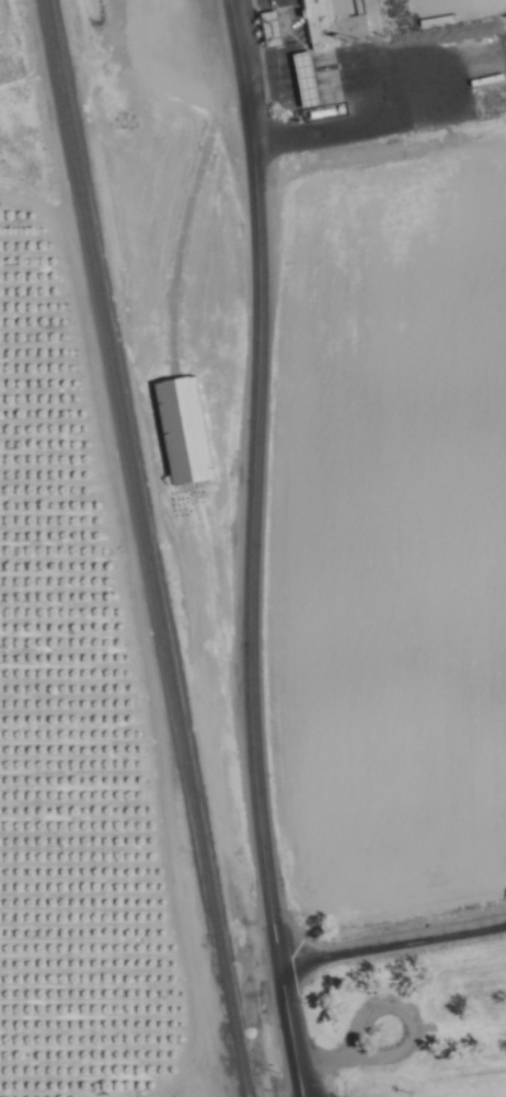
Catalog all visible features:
building: (330, 22)
road: (334, 126)
building: (183, 427)
road: (253, 482)
railway: (146, 548)
road: (392, 946)
road: (289, 1031)

